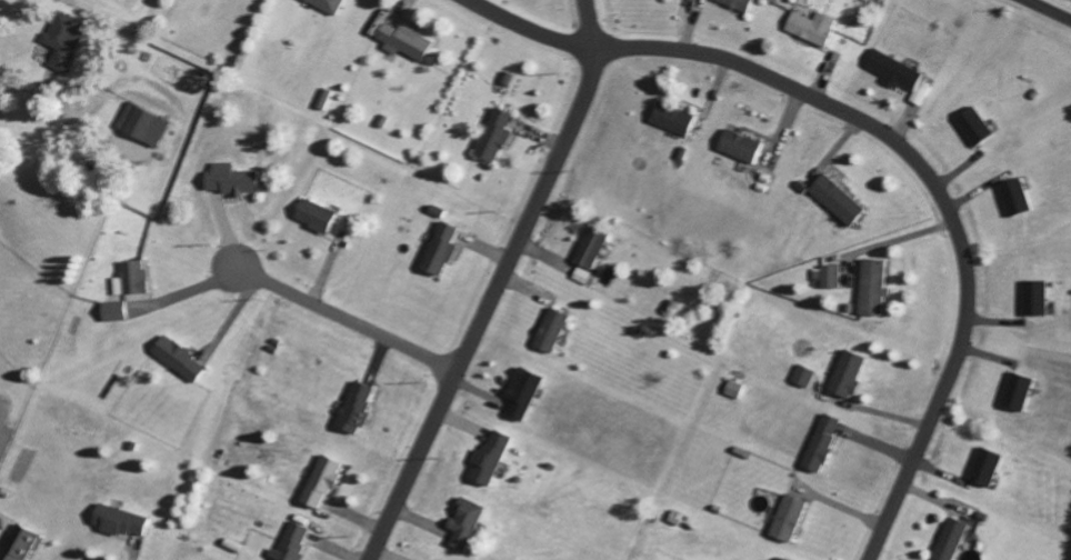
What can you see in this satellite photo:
building: (737, 3)
building: (326, 4)
road: (1050, 9)
building: (811, 26)
road: (526, 27)
building: (63, 39)
building: (401, 39)
building: (899, 74)
road: (36, 86)
building: (323, 98)
building: (670, 117)
building: (143, 123)
building: (973, 124)
building: (496, 136)
building: (738, 144)
building: (229, 179)
road: (935, 191)
building: (1013, 196)
building: (835, 198)
building: (312, 214)
building: (590, 247)
building: (439, 248)
building: (580, 274)
building: (830, 276)
building: (129, 278)
road: (492, 283)
building: (871, 286)
building: (1033, 297)
building: (112, 310)
road: (343, 320)
building: (550, 329)
building: (177, 358)
building: (845, 373)
building: (802, 376)
building: (732, 388)
building: (1015, 390)
building: (521, 391)
building: (353, 407)
building: (820, 442)
building: (489, 457)
building: (984, 466)
building: (318, 481)
building: (785, 517)
building: (117, 520)
building: (463, 522)
building: (950, 539)
building: (289, 542)
building: (18, 544)

